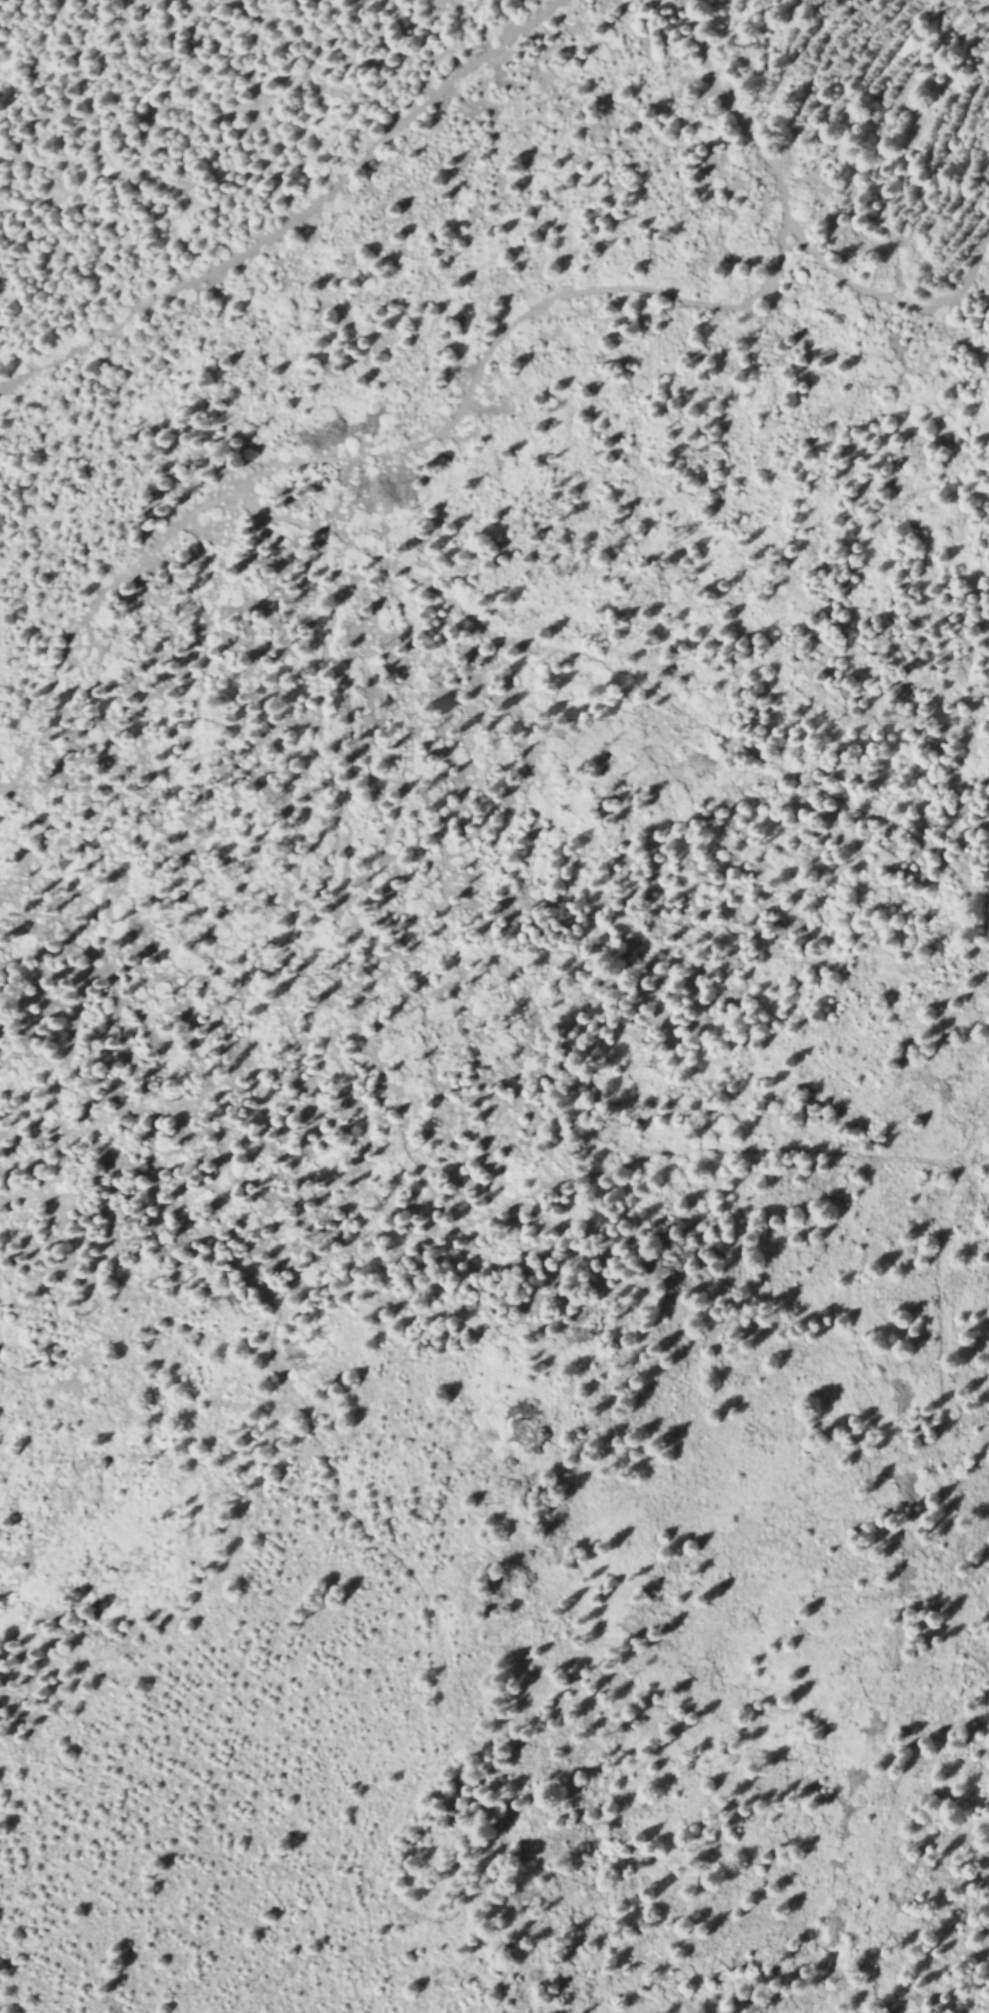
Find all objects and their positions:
road: (297, 214)
road: (890, 298)
road: (268, 464)
road: (99, 608)
road: (526, 1199)
road: (952, 1586)

